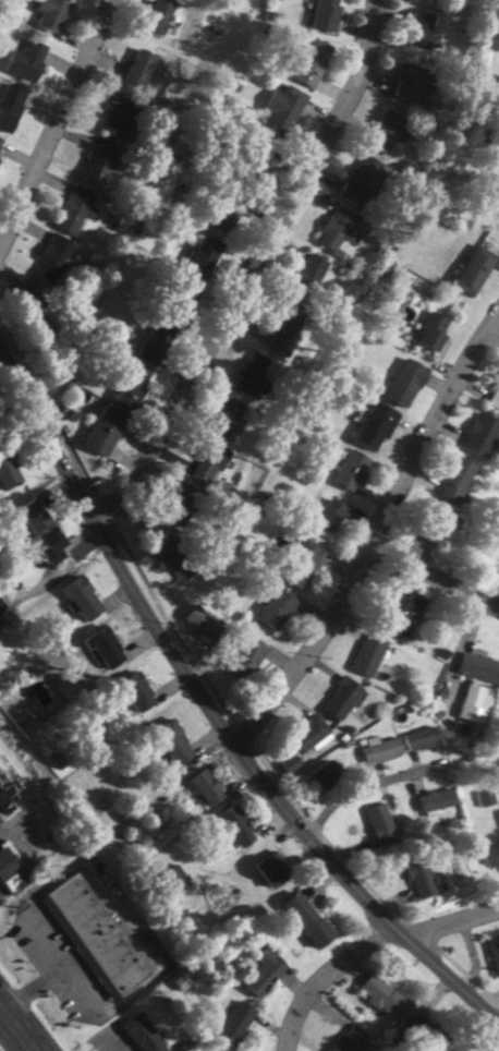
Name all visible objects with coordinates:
building: (50, 14)
building: (326, 14)
building: (160, 15)
building: (421, 31)
building: (26, 60)
building: (312, 62)
building: (141, 68)
building: (409, 83)
building: (10, 106)
building: (282, 110)
building: (119, 116)
road: (51, 123)
building: (386, 131)
building: (0, 141)
building: (99, 162)
building: (361, 180)
building: (497, 208)
building: (75, 209)
building: (340, 228)
building: (53, 254)
road: (251, 267)
building: (311, 270)
building: (474, 270)
building: (32, 311)
road: (495, 322)
building: (433, 331)
building: (155, 342)
building: (253, 375)
building: (133, 380)
building: (405, 383)
building: (495, 398)
building: (226, 418)
building: (375, 426)
building: (104, 428)
building: (480, 435)
building: (208, 463)
building: (8, 470)
building: (351, 471)
building: (454, 481)
building: (182, 504)
building: (34, 516)
building: (326, 518)
building: (431, 522)
road: (372, 530)
road: (117, 540)
building: (49, 547)
building: (172, 556)
building: (302, 564)
road: (433, 572)
building: (83, 599)
building: (2, 605)
building: (276, 608)
building: (400, 609)
building: (203, 624)
building: (105, 648)
building: (367, 654)
building: (245, 660)
building: (477, 667)
building: (136, 691)
building: (471, 696)
building: (341, 698)
building: (47, 699)
building: (307, 735)
building: (421, 738)
building: (173, 742)
building: (381, 750)
building: (290, 764)
building: (322, 775)
building: (206, 786)
building: (5, 796)
building: (485, 798)
building: (435, 799)
building: (498, 816)
building: (235, 824)
building: (379, 824)
road: (411, 856)
building: (489, 857)
building: (272, 867)
building: (11, 871)
building: (416, 873)
road: (342, 903)
road: (446, 915)
building: (306, 918)
building: (94, 935)
building: (494, 954)
building: (264, 970)
road: (334, 982)
building: (381, 996)
building: (235, 1022)
road: (16, 1028)
building: (144, 1032)
building: (351, 1040)
building: (459, 1050)

